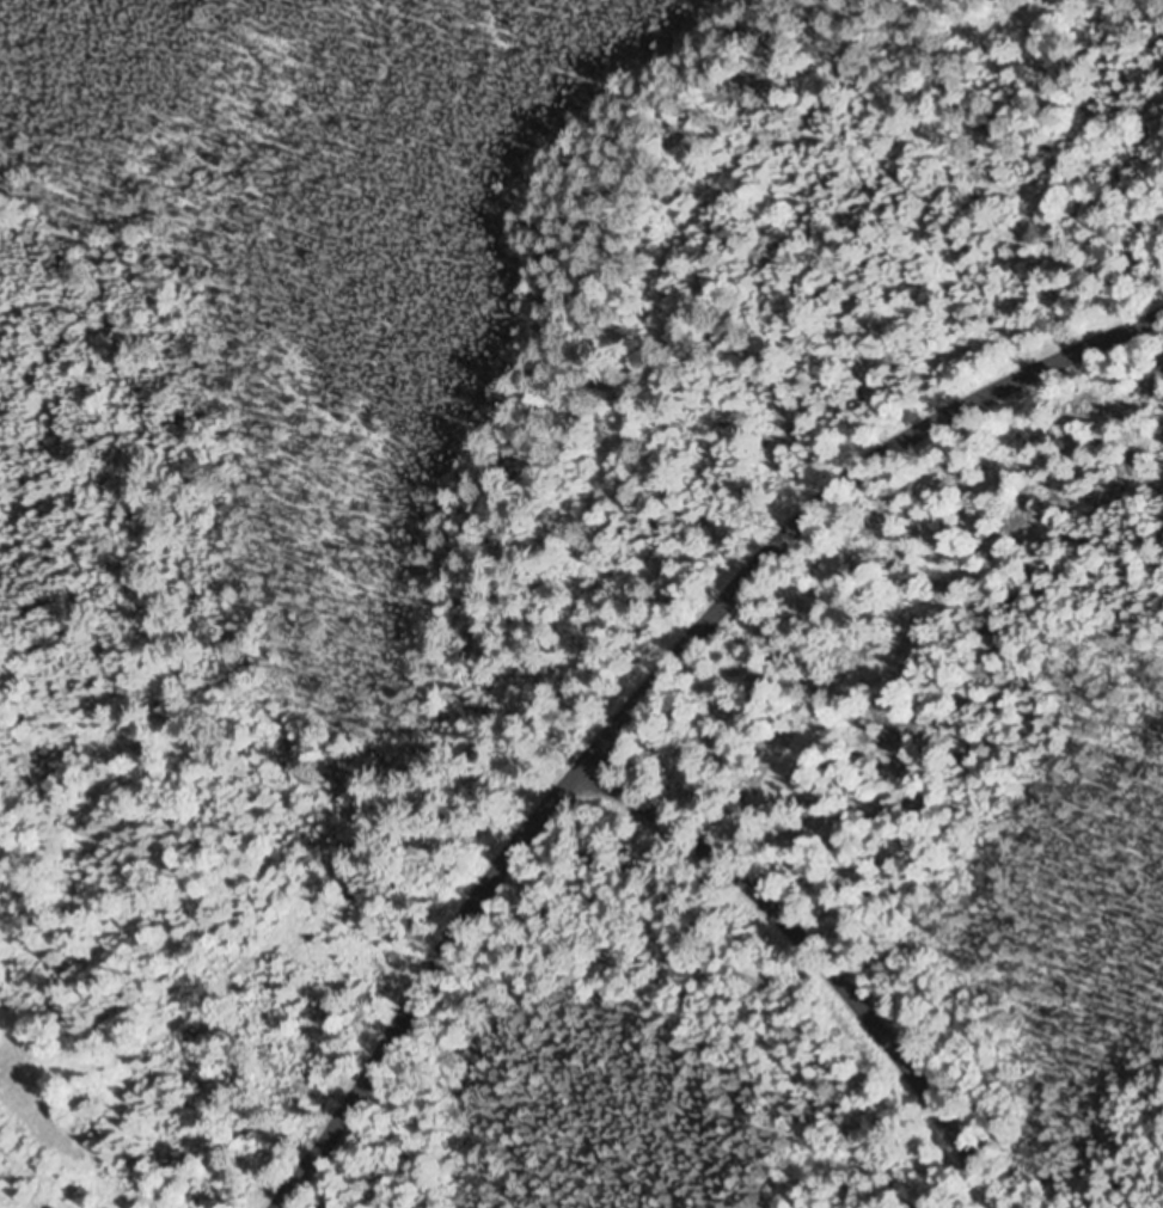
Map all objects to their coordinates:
quarry: (20, 146)
road: (647, 682)
road: (1092, 885)
road: (803, 970)

